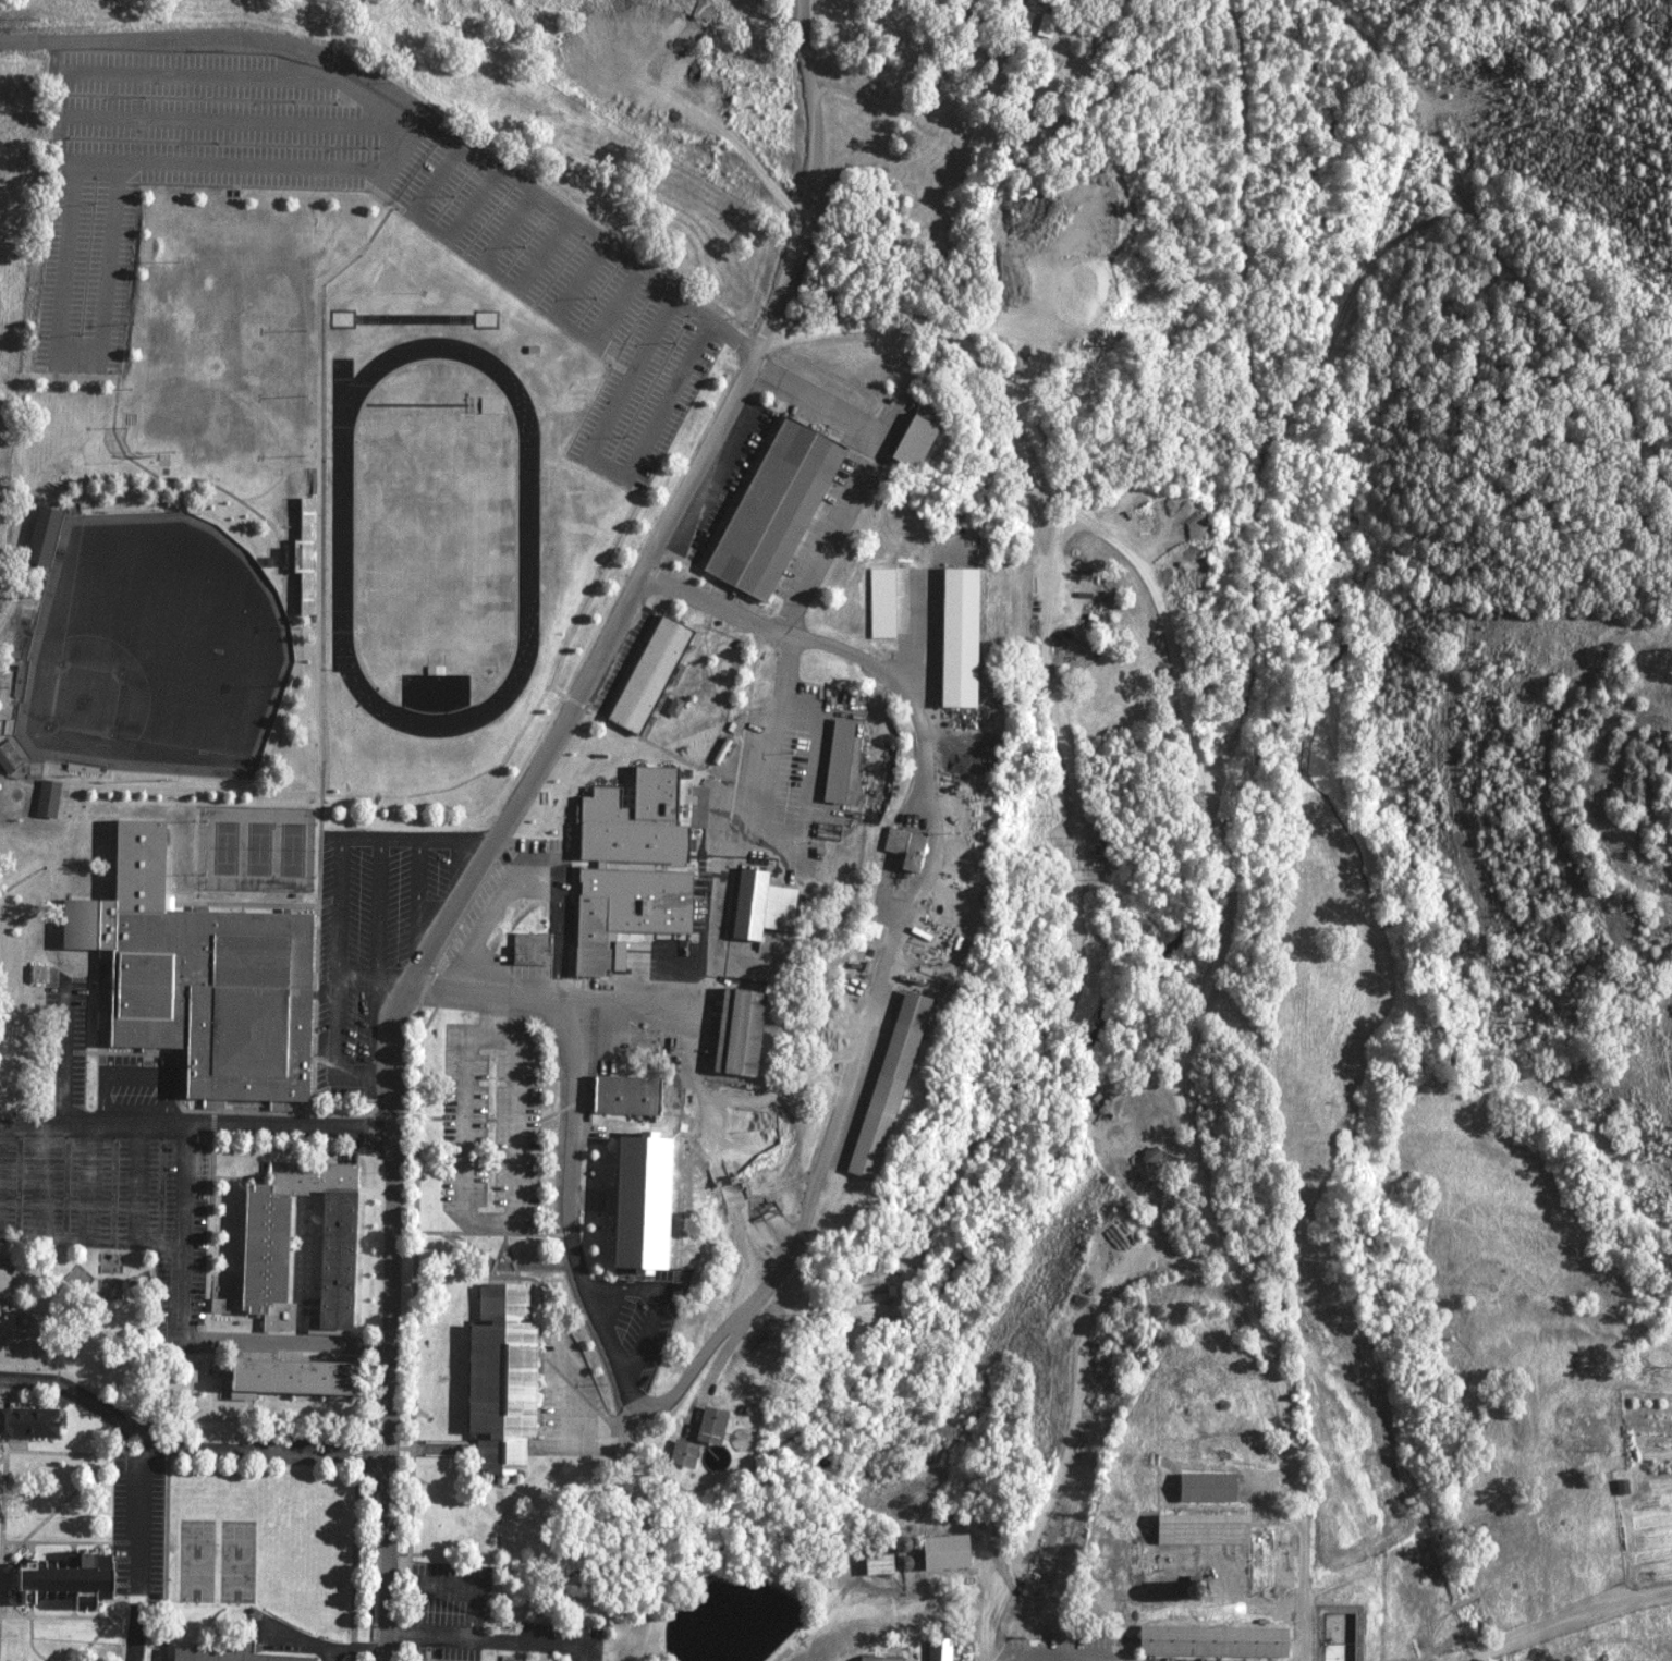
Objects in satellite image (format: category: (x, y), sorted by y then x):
building: (1044, 24)
road: (23, 39)
road: (59, 39)
road: (442, 123)
road: (813, 183)
parking lot: (524, 236)
road: (57, 333)
building: (472, 405)
building: (907, 441)
road: (605, 462)
road: (864, 475)
building: (770, 509)
park: (435, 521)
track: (343, 527)
track: (436, 527)
building: (39, 535)
building: (303, 555)
building: (880, 602)
building: (954, 637)
park: (155, 646)
building: (646, 674)
building: (835, 760)
building: (45, 798)
building: (633, 818)
road: (461, 831)
building: (904, 846)
park: (227, 847)
park: (260, 847)
park: (293, 848)
road: (340, 856)
road: (420, 863)
road: (725, 875)
parking lot: (377, 925)
building: (593, 936)
building: (526, 949)
road: (400, 968)
road: (418, 968)
building: (207, 973)
building: (34, 974)
road: (492, 1009)
building: (732, 1031)
road: (420, 1035)
road: (133, 1077)
building: (883, 1085)
building: (620, 1096)
parking lot: (492, 1120)
road: (195, 1125)
building: (1148, 1156)
parking lot: (115, 1197)
building: (648, 1197)
road: (804, 1207)
road: (489, 1210)
road: (483, 1224)
road: (556, 1226)
road: (566, 1228)
road: (501, 1239)
building: (268, 1243)
road: (505, 1246)
road: (492, 1257)
road: (511, 1258)
road: (501, 1273)
building: (3, 1283)
road: (540, 1285)
road: (660, 1295)
parking lot: (637, 1318)
road: (413, 1353)
building: (307, 1375)
building: (498, 1378)
road: (560, 1390)
parking lot: (567, 1392)
road: (84, 1393)
building: (23, 1424)
road: (127, 1425)
building: (708, 1426)
parking lot: (308, 1432)
road: (440, 1440)
road: (126, 1448)
building: (680, 1453)
road: (273, 1454)
building: (1201, 1487)
road: (141, 1499)
road: (657, 1525)
building: (1198, 1527)
building: (941, 1550)
park: (196, 1552)
park: (239, 1553)
building: (875, 1562)
road: (736, 1571)
dam: (735, 1573)
building: (60, 1579)
road: (471, 1590)
road: (808, 1607)
road: (400, 1633)
building: (1208, 1639)
building: (937, 1648)
building: (224, 1656)
building: (877, 1658)

